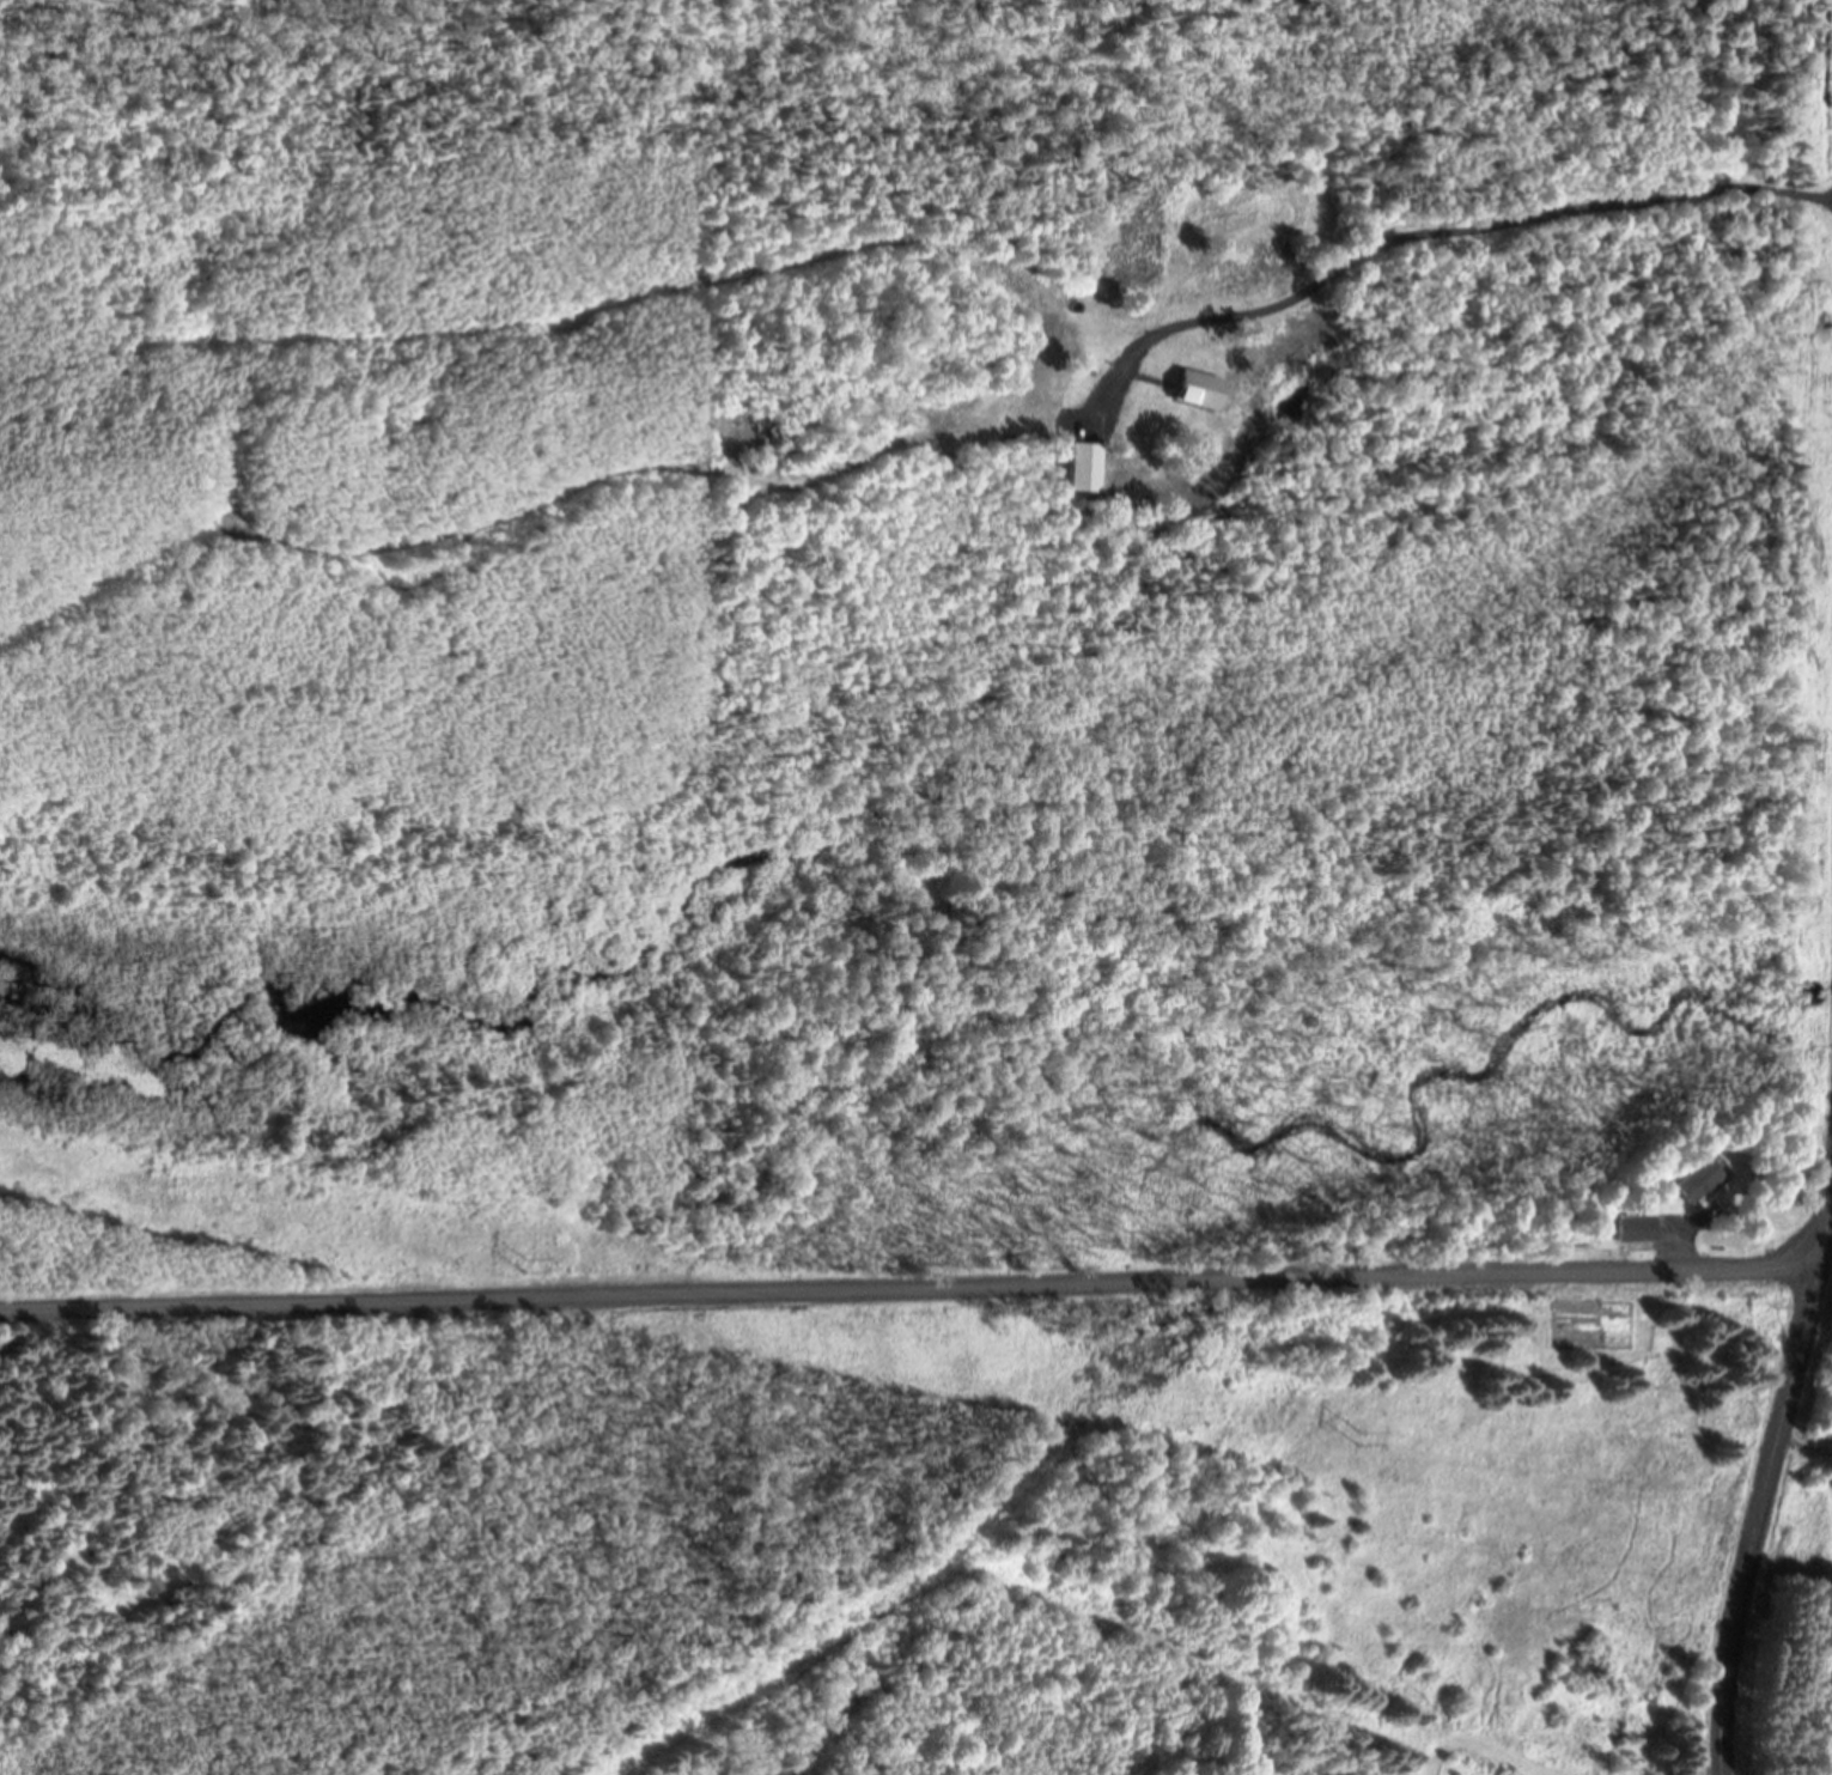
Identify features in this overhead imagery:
building: (1704, 1183)
building: (1639, 1232)
road: (911, 1288)
road: (1766, 1494)

